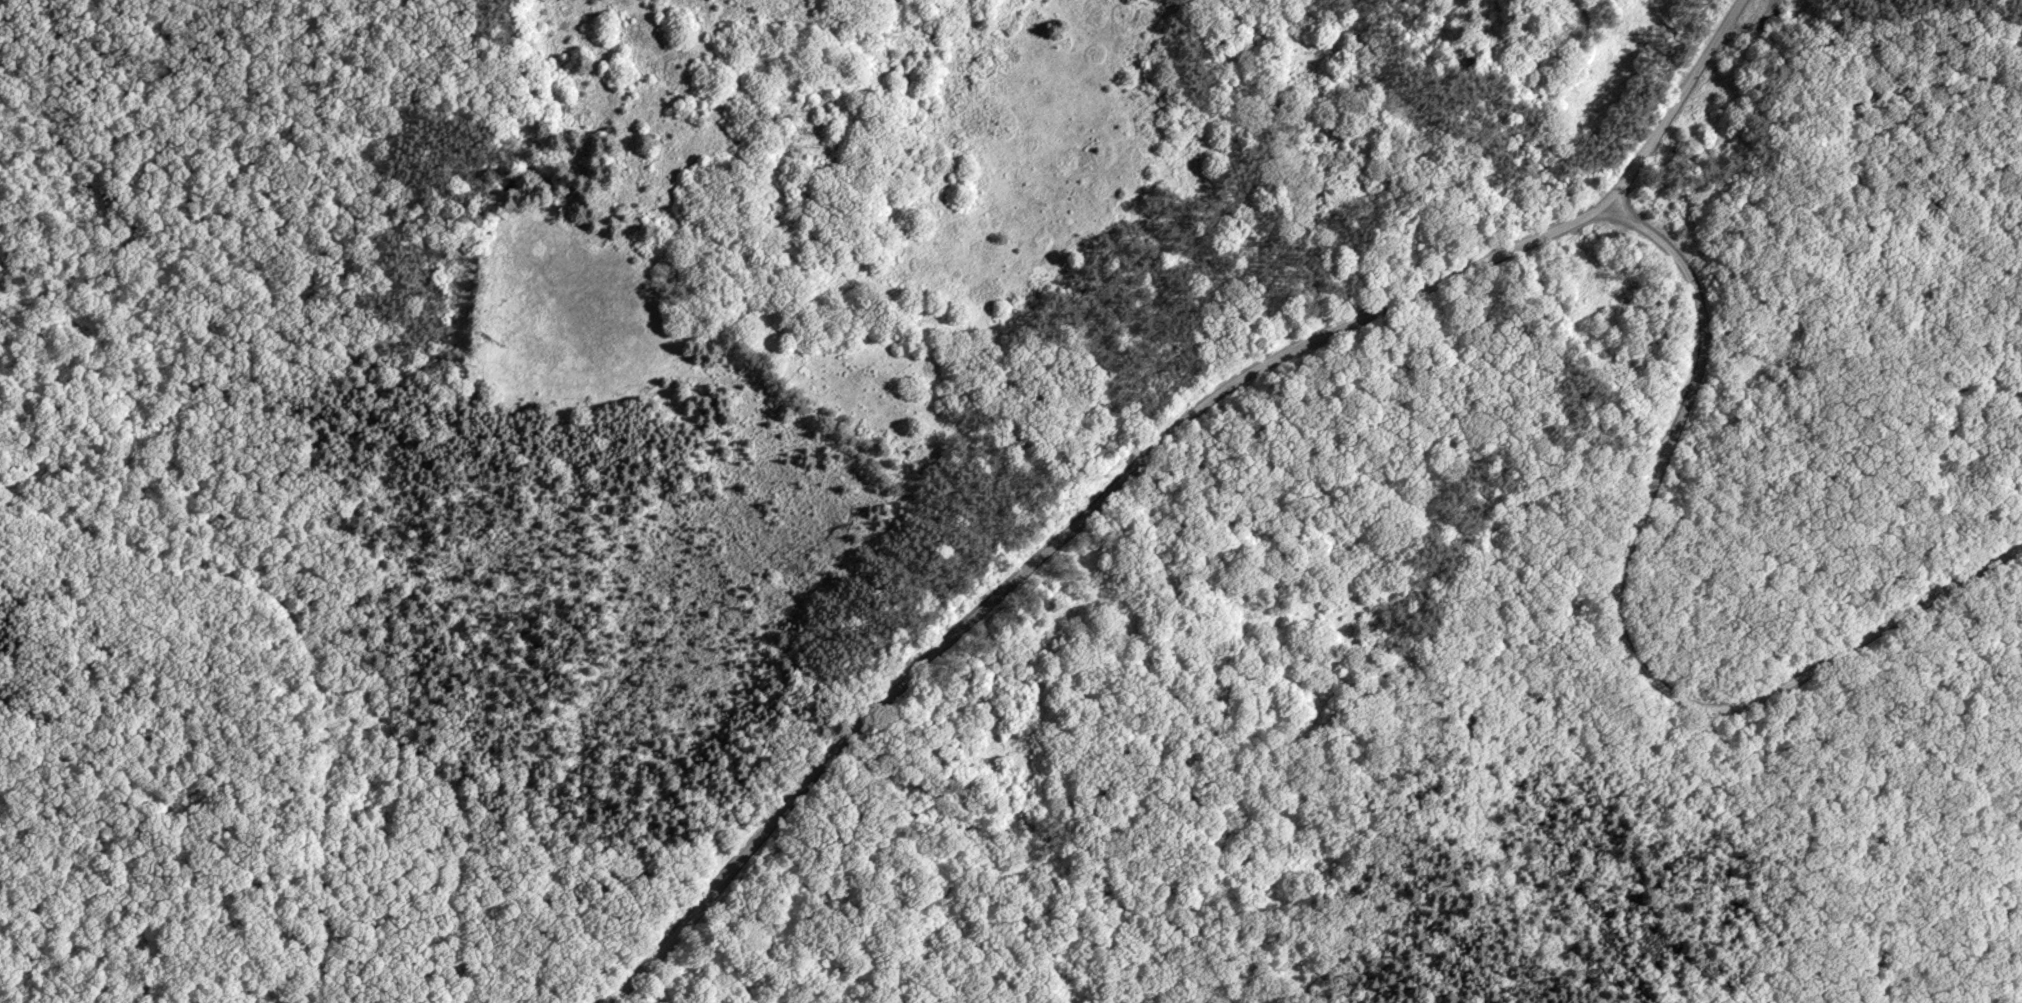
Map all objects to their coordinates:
parking lot: (1766, 17)
road: (1753, 29)
road: (1676, 104)
building: (1928, 214)
road: (1058, 540)
road: (1621, 629)
road: (311, 645)

